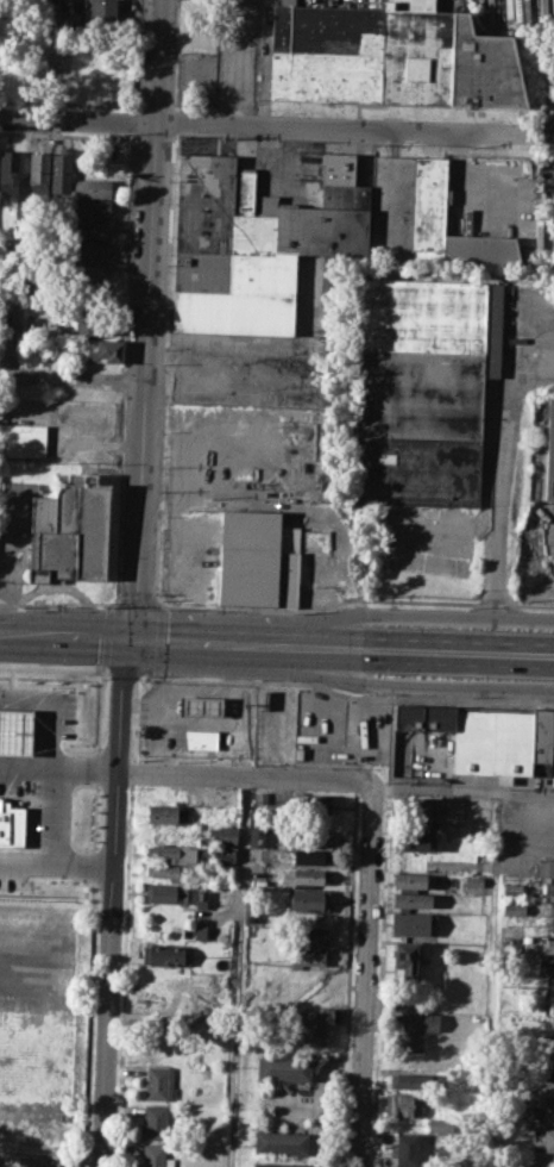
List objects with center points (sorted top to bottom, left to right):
building: (102, 14)
building: (390, 56)
road: (271, 129)
building: (10, 170)
building: (38, 170)
building: (61, 171)
building: (92, 188)
building: (92, 208)
building: (90, 229)
building: (301, 236)
building: (89, 249)
building: (89, 268)
road: (149, 318)
building: (94, 323)
building: (105, 351)
road: (74, 379)
building: (422, 389)
building: (24, 441)
building: (550, 449)
road: (498, 503)
building: (68, 529)
parking lot: (547, 532)
building: (257, 560)
road: (353, 599)
road: (136, 601)
road: (58, 604)
road: (160, 606)
road: (401, 614)
road: (306, 632)
road: (65, 634)
road: (212, 634)
traffic signals: (132, 637)
road: (152, 637)
road: (458, 637)
road: (156, 639)
road: (212, 645)
road: (306, 656)
road: (457, 661)
road: (53, 669)
road: (119, 674)
road: (143, 676)
road: (399, 685)
road: (351, 697)
road: (168, 699)
building: (201, 705)
parking lot: (339, 728)
building: (487, 737)
building: (201, 738)
road: (59, 772)
road: (245, 778)
road: (462, 791)
building: (260, 797)
building: (311, 803)
building: (411, 812)
building: (164, 813)
parking lot: (525, 823)
building: (162, 834)
building: (222, 835)
building: (254, 835)
building: (308, 837)
building: (415, 841)
road: (56, 845)
building: (168, 853)
building: (226, 853)
building: (308, 856)
road: (27, 860)
building: (546, 866)
building: (169, 872)
building: (306, 875)
building: (409, 880)
building: (473, 880)
building: (549, 887)
building: (512, 888)
building: (165, 892)
building: (201, 898)
building: (306, 899)
building: (411, 899)
road: (112, 901)
building: (550, 905)
building: (512, 909)
building: (410, 923)
building: (553, 925)
building: (202, 930)
building: (307, 936)
building: (548, 944)
building: (163, 955)
building: (308, 956)
building: (404, 957)
building: (547, 966)
road: (238, 972)
road: (366, 974)
building: (550, 982)
building: (316, 1025)
building: (416, 1030)
building: (552, 1046)
building: (283, 1068)
building: (549, 1072)
building: (156, 1081)
building: (410, 1081)
building: (169, 1082)
building: (550, 1102)
building: (402, 1105)
building: (529, 1111)
building: (155, 1121)
building: (548, 1138)
building: (282, 1142)
building: (408, 1149)
building: (155, 1156)
building: (50, 1162)
building: (276, 1165)
building: (501, 1165)

